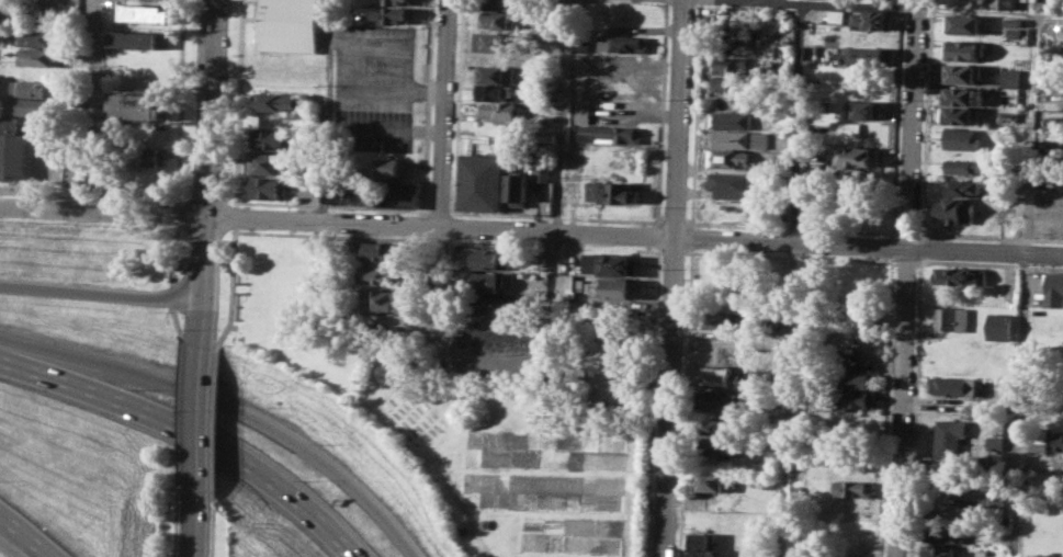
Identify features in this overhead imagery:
building: (1037, 0)
building: (396, 1)
building: (1009, 3)
building: (506, 4)
road: (903, 5)
building: (147, 12)
building: (392, 15)
building: (496, 19)
building: (873, 20)
building: (1014, 21)
building: (964, 23)
building: (290, 24)
building: (1014, 33)
building: (37, 36)
building: (139, 39)
building: (497, 42)
building: (620, 42)
road: (405, 44)
building: (963, 49)
building: (38, 56)
building: (869, 56)
building: (278, 62)
building: (730, 65)
building: (496, 73)
building: (962, 73)
building: (1010, 77)
building: (730, 82)
building: (1041, 82)
parking lot: (372, 86)
building: (31, 87)
building: (494, 91)
building: (964, 95)
building: (280, 100)
building: (142, 103)
building: (31, 105)
road: (213, 109)
building: (868, 109)
building: (498, 110)
road: (325, 112)
road: (442, 114)
building: (959, 114)
road: (559, 116)
building: (733, 120)
building: (838, 127)
building: (498, 128)
building: (604, 129)
road: (396, 132)
building: (270, 137)
building: (962, 137)
building: (730, 138)
building: (12, 148)
building: (148, 156)
building: (727, 157)
building: (856, 157)
building: (269, 162)
building: (781, 163)
building: (387, 167)
building: (966, 167)
building: (78, 169)
building: (543, 169)
road: (36, 180)
building: (150, 180)
building: (483, 182)
building: (727, 184)
building: (308, 186)
building: (267, 187)
building: (570, 187)
building: (965, 187)
building: (518, 190)
building: (353, 191)
building: (612, 191)
building: (399, 193)
building: (958, 209)
road: (103, 212)
road: (323, 224)
road: (750, 241)
building: (381, 250)
building: (491, 257)
building: (608, 263)
building: (383, 273)
building: (962, 275)
road: (671, 277)
road: (907, 277)
road: (790, 278)
building: (488, 282)
road: (208, 283)
building: (567, 285)
road: (1021, 285)
building: (614, 287)
building: (1053, 288)
road: (104, 294)
road: (437, 295)
building: (383, 299)
building: (490, 306)
building: (951, 318)
building: (721, 320)
building: (999, 326)
building: (721, 337)
road: (528, 348)
building: (720, 355)
building: (720, 376)
building: (861, 380)
building: (953, 386)
building: (855, 400)
building: (720, 401)
road: (231, 406)
road: (204, 420)
building: (723, 425)
road: (188, 432)
building: (951, 434)
building: (1059, 442)
building: (993, 443)
building: (721, 446)
building: (1039, 446)
building: (712, 481)
building: (765, 481)
building: (851, 488)
road: (200, 524)
building: (943, 532)
road: (476, 534)
road: (24, 535)
building: (700, 544)
building: (937, 550)

